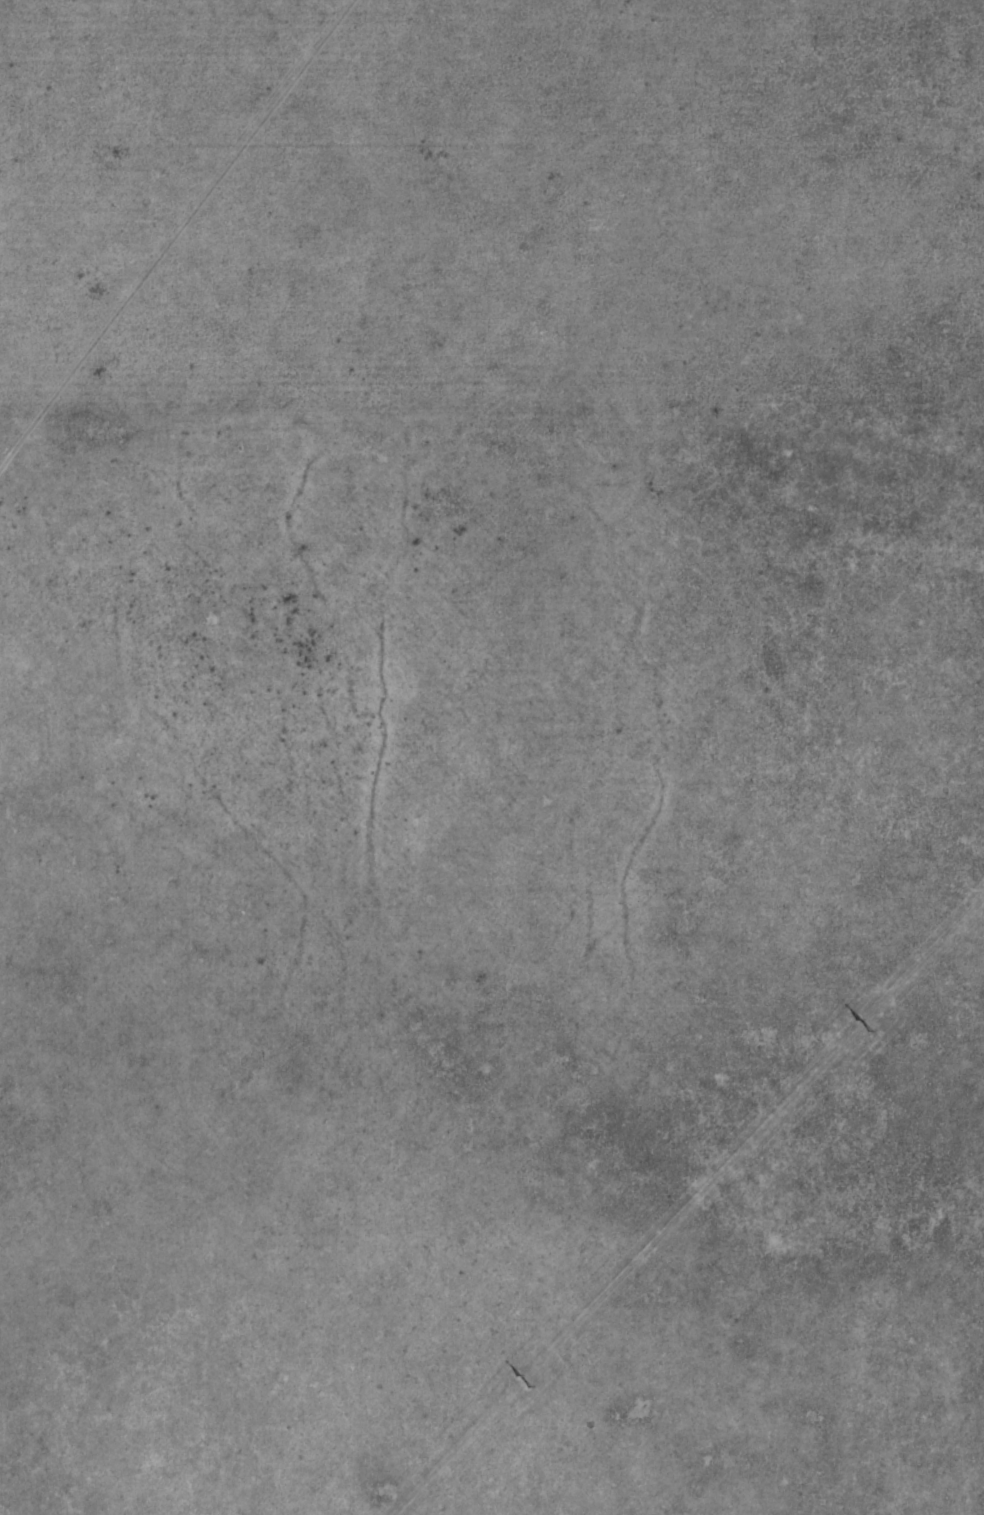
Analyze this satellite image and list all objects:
power tower: (860, 1021)
power tower: (519, 1379)

